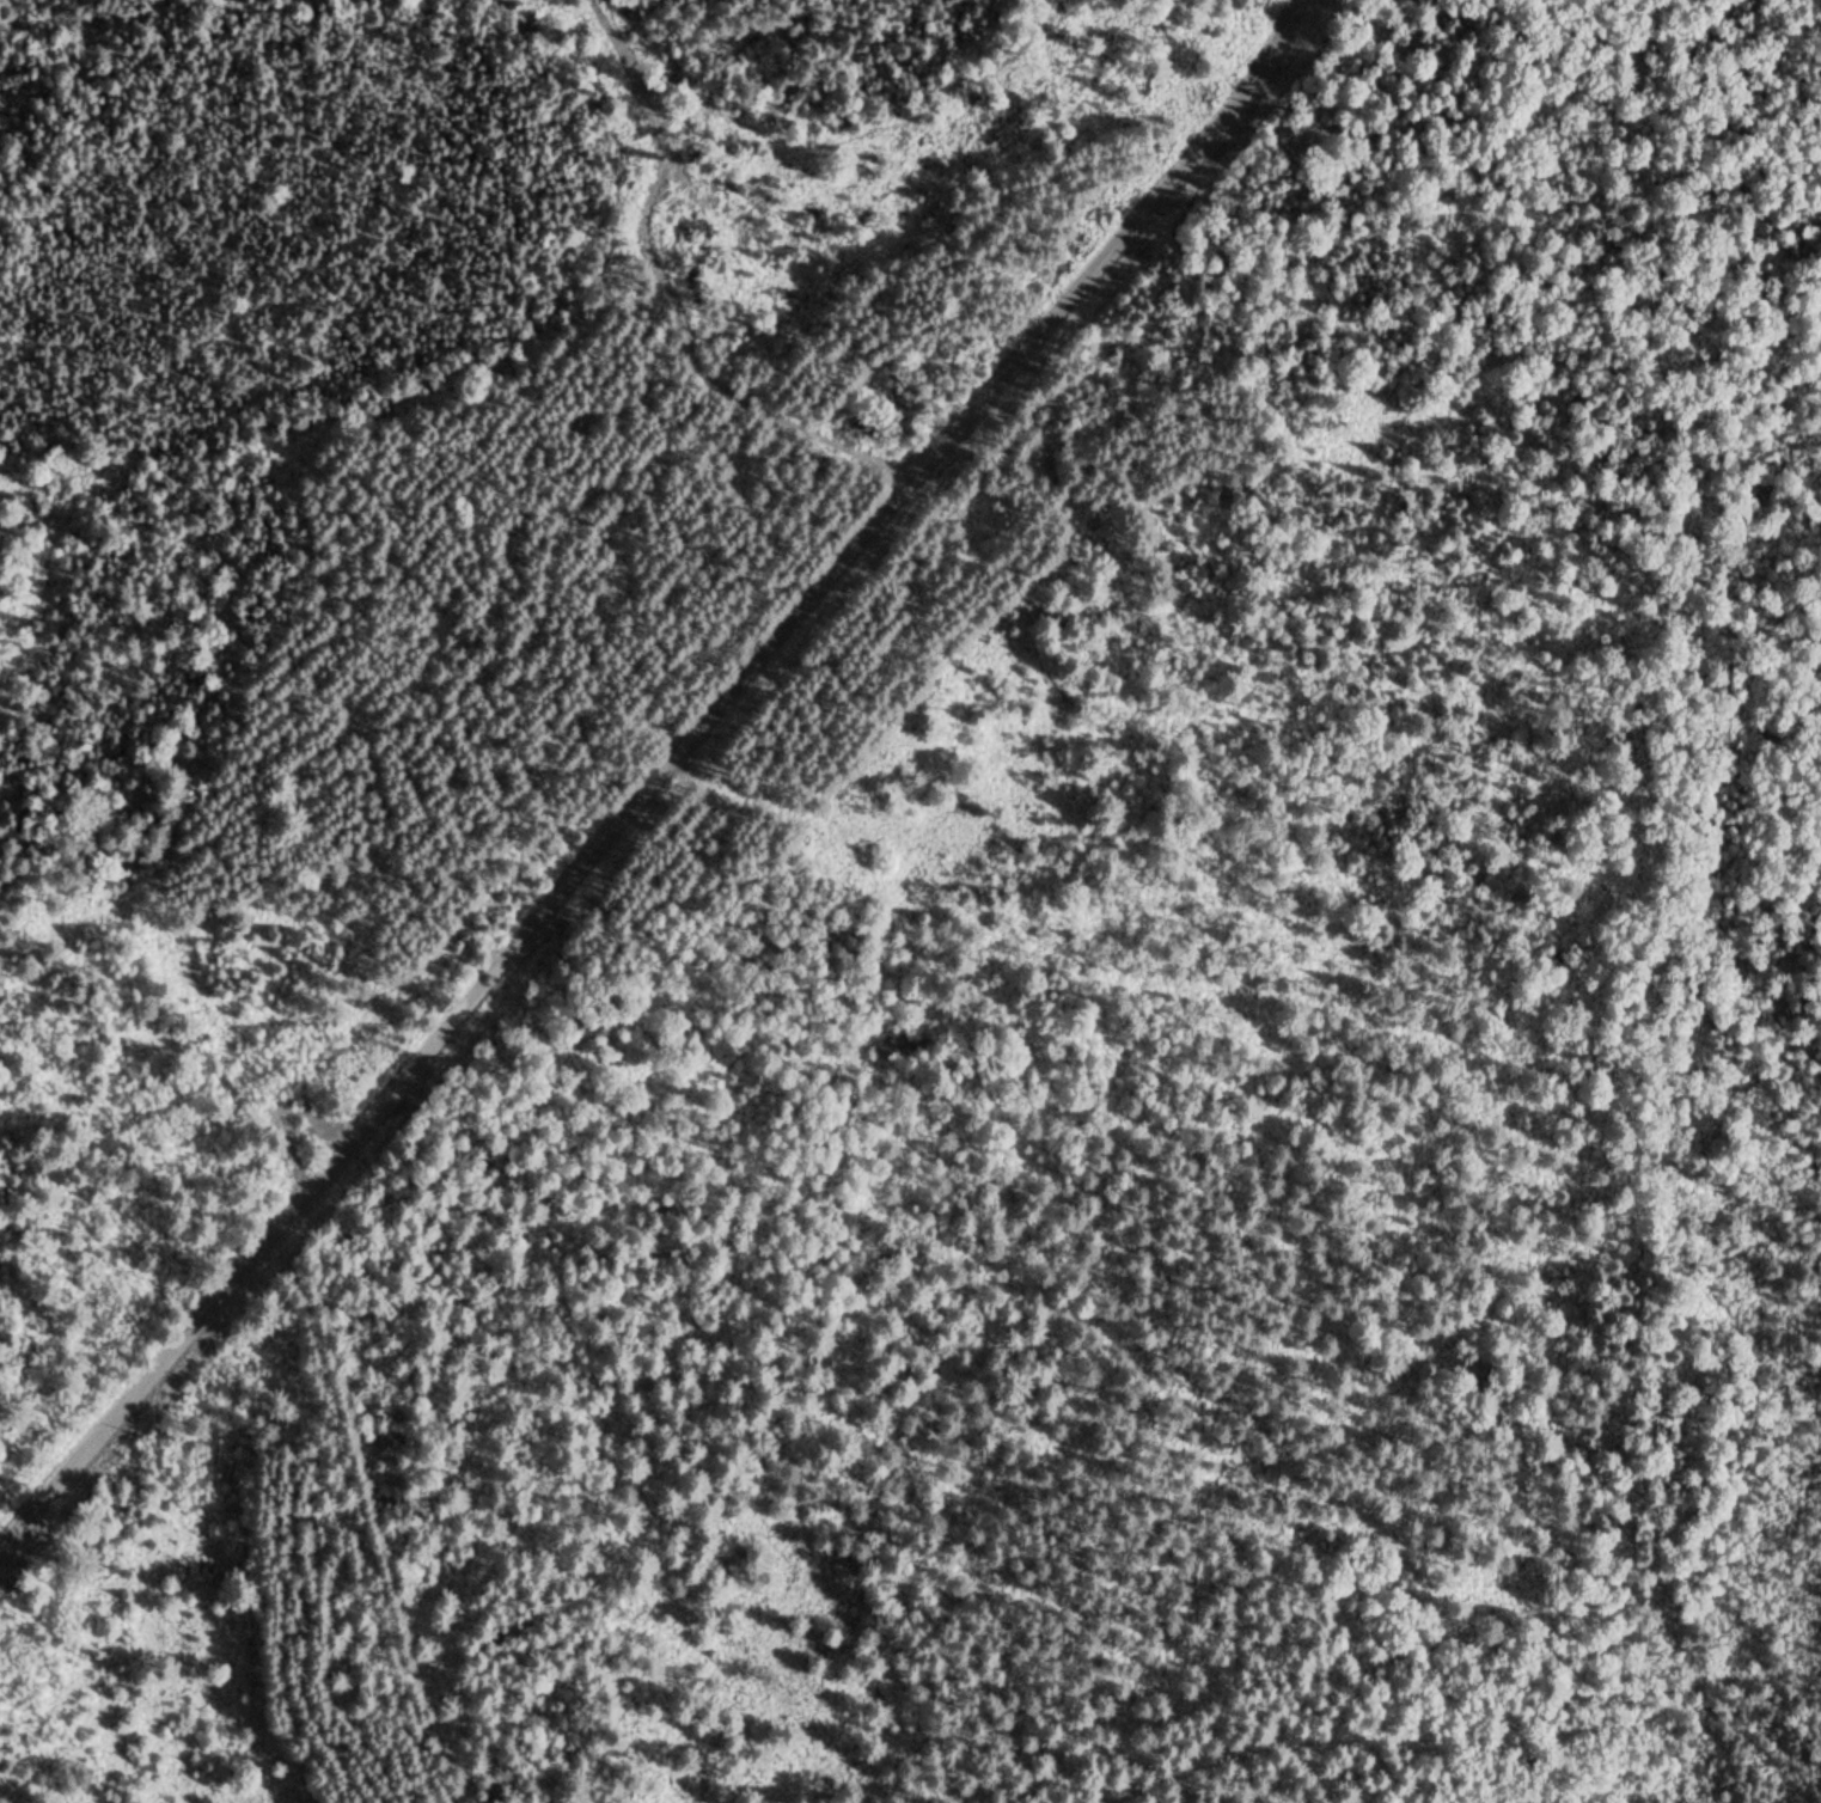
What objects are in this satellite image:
road: (637, 210)
road: (487, 666)
road: (650, 776)

